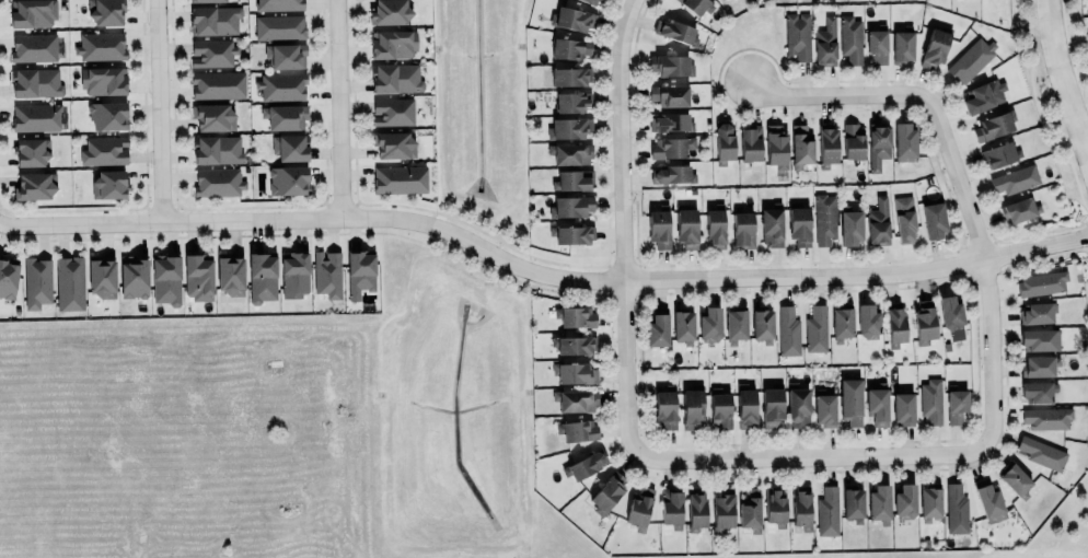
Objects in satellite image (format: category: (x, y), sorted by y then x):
building: (209, 0)
building: (593, 2)
building: (279, 4)
building: (694, 5)
building: (106, 12)
building: (389, 12)
building: (32, 13)
building: (572, 18)
building: (215, 19)
building: (279, 26)
building: (672, 30)
building: (797, 35)
building: (850, 38)
building: (825, 42)
building: (878, 43)
building: (394, 44)
building: (100, 45)
building: (936, 45)
building: (902, 46)
building: (33, 47)
building: (569, 47)
building: (211, 51)
building: (286, 55)
building: (971, 59)
building: (669, 65)
building: (569, 75)
building: (395, 77)
road: (1063, 78)
building: (103, 80)
building: (35, 82)
building: (217, 84)
building: (281, 85)
building: (669, 94)
road: (837, 94)
building: (984, 95)
building: (571, 101)
road: (336, 107)
road: (158, 109)
building: (392, 111)
building: (107, 114)
building: (35, 116)
building: (212, 116)
building: (285, 116)
building: (669, 121)
building: (993, 125)
building: (568, 127)
building: (853, 139)
building: (724, 140)
building: (903, 141)
building: (750, 142)
building: (800, 143)
building: (395, 144)
building: (826, 144)
building: (670, 146)
building: (775, 146)
building: (878, 146)
building: (290, 147)
building: (217, 149)
building: (104, 150)
building: (32, 151)
building: (570, 152)
building: (1000, 153)
building: (672, 174)
building: (400, 178)
building: (1015, 178)
building: (288, 179)
building: (571, 179)
building: (218, 182)
building: (108, 183)
building: (35, 185)
building: (572, 206)
building: (1020, 209)
building: (824, 218)
building: (903, 219)
building: (933, 219)
building: (878, 222)
building: (799, 224)
building: (772, 226)
road: (622, 228)
building: (658, 228)
building: (686, 228)
building: (715, 228)
building: (850, 228)
building: (743, 229)
building: (571, 233)
road: (986, 267)
building: (360, 271)
building: (293, 274)
building: (327, 274)
road: (540, 274)
building: (230, 275)
building: (198, 276)
building: (8, 277)
building: (263, 277)
building: (102, 278)
building: (134, 278)
building: (165, 278)
building: (36, 281)
building: (70, 282)
building: (1041, 282)
building: (1037, 312)
building: (951, 313)
building: (576, 316)
building: (867, 321)
building: (924, 322)
building: (841, 323)
building: (710, 324)
building: (895, 324)
building: (736, 325)
building: (763, 325)
building: (683, 326)
building: (658, 327)
building: (815, 328)
building: (787, 330)
building: (1040, 339)
building: (576, 345)
building: (1039, 364)
building: (575, 373)
building: (1038, 392)
building: (575, 399)
building: (931, 400)
building: (850, 402)
building: (797, 405)
building: (877, 405)
building: (746, 406)
building: (957, 406)
building: (665, 407)
building: (692, 407)
building: (771, 407)
building: (720, 408)
building: (902, 408)
building: (824, 409)
building: (1046, 417)
building: (576, 430)
building: (1042, 453)
road: (811, 454)
building: (582, 465)
building: (1015, 479)
building: (606, 492)
building: (989, 500)
building: (878, 501)
building: (904, 501)
building: (929, 501)
building: (853, 504)
building: (774, 505)
building: (800, 507)
building: (639, 508)
building: (671, 508)
building: (956, 509)
building: (696, 510)
building: (721, 510)
building: (750, 510)
building: (827, 511)

